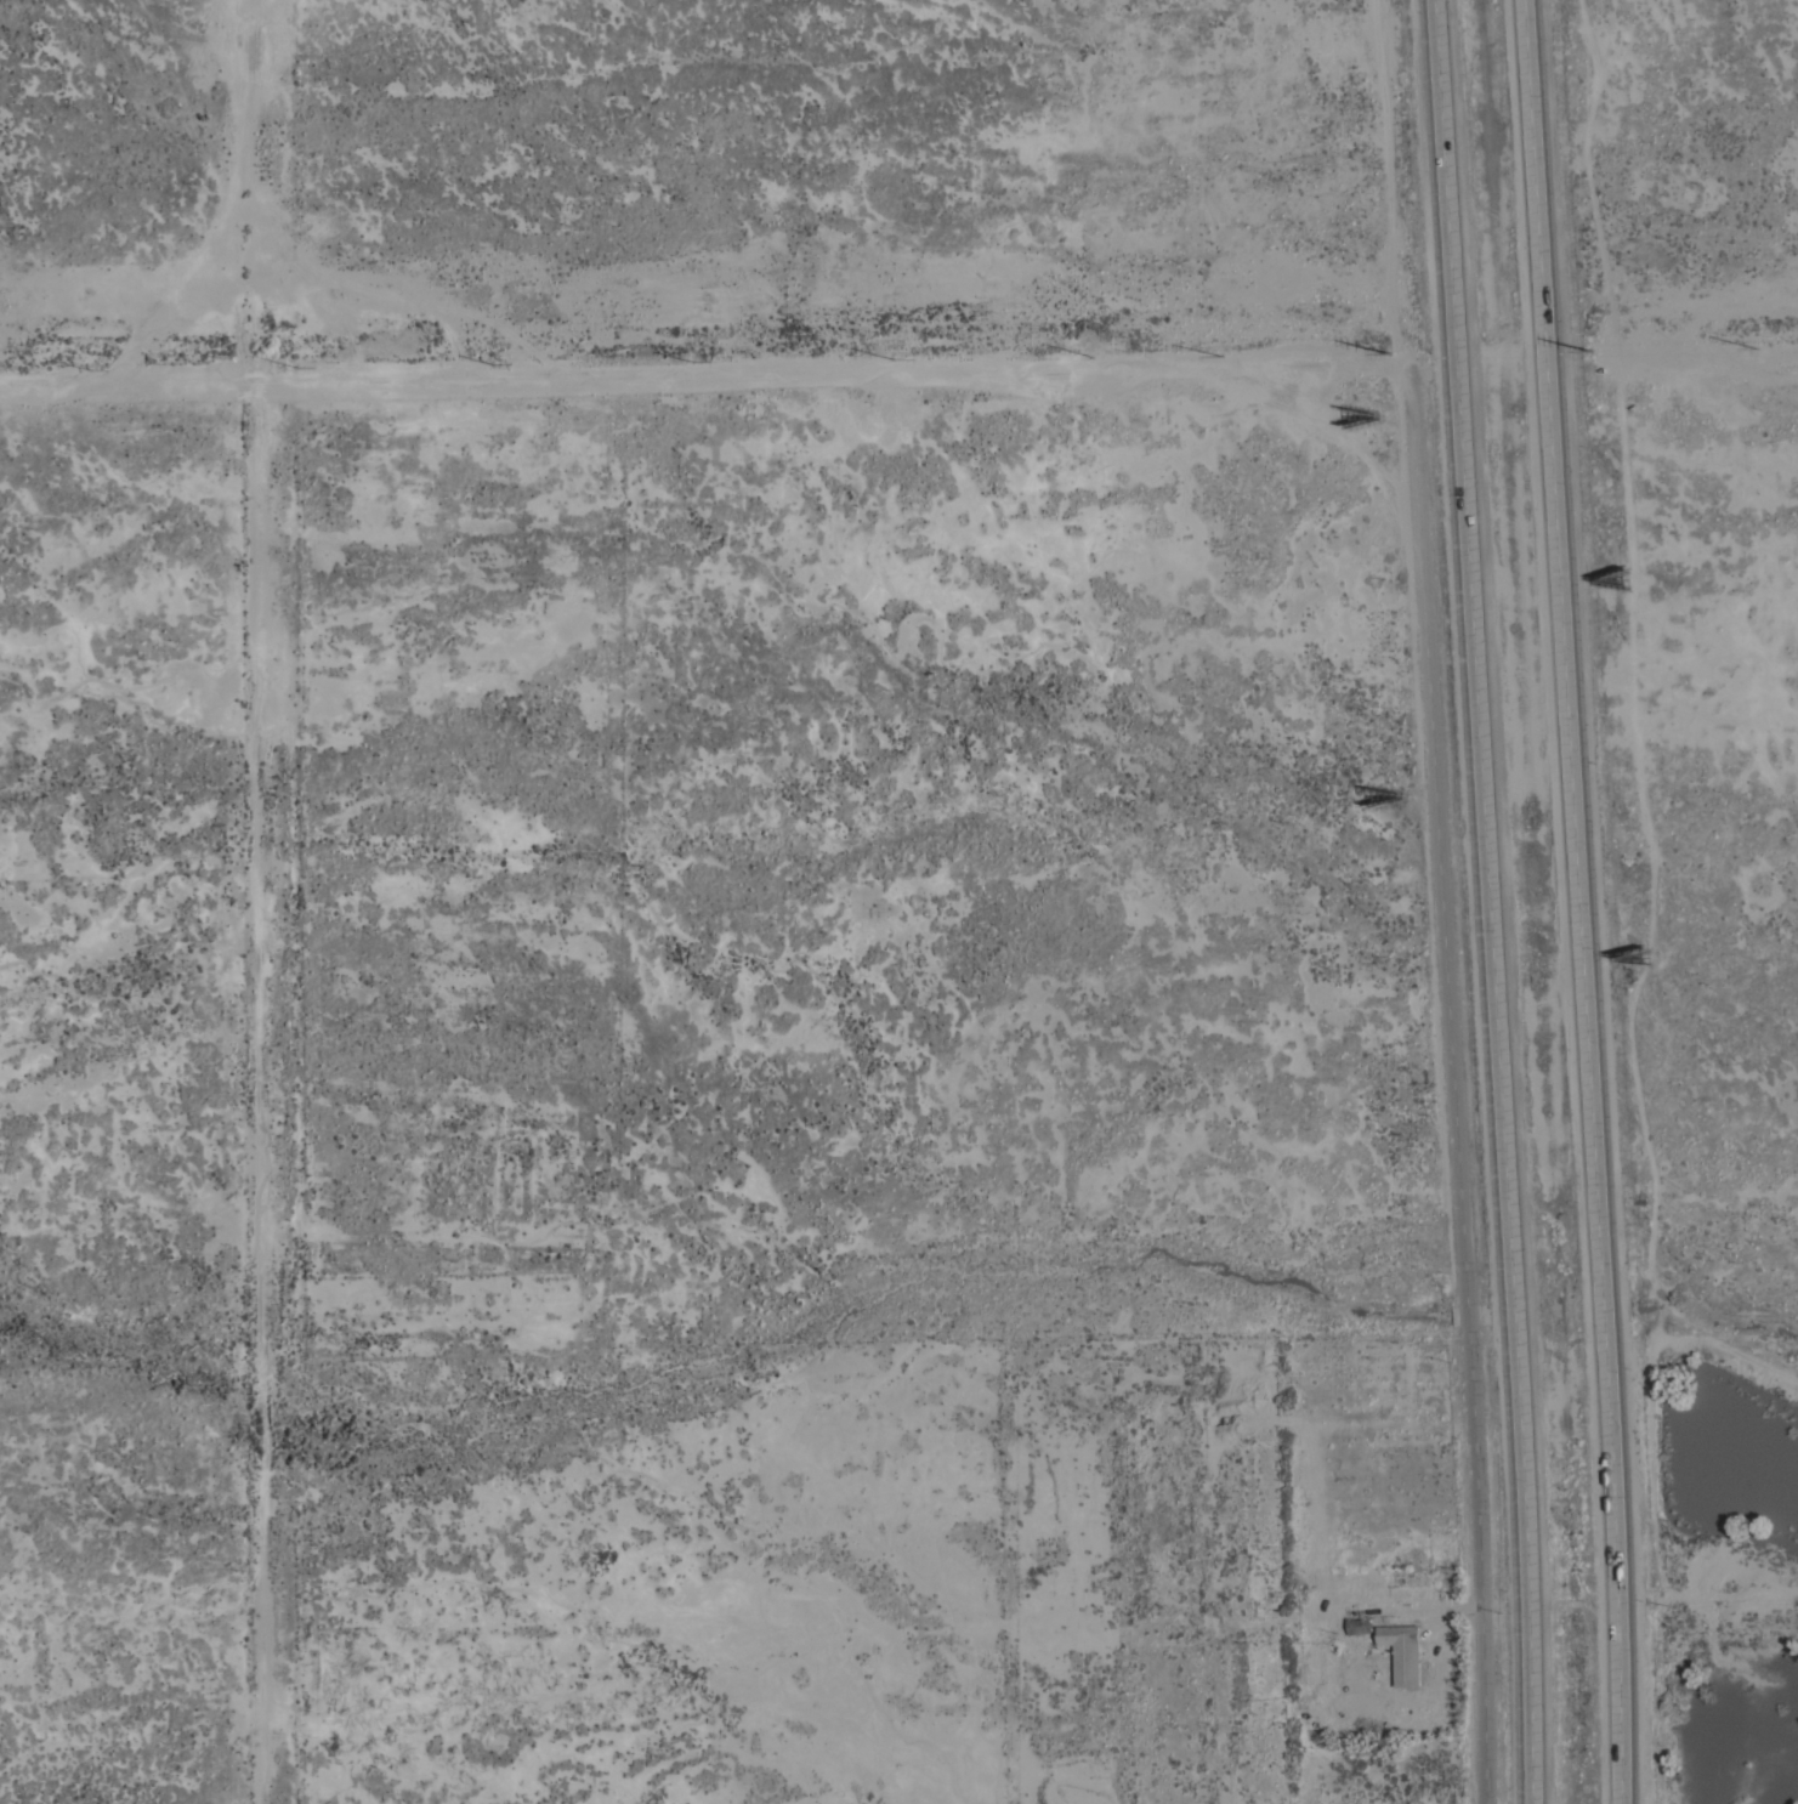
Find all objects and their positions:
road: (256, 174)
road: (1391, 188)
road: (714, 342)
road: (1502, 352)
road: (1488, 901)
road: (1581, 901)
road: (260, 1076)
road: (1456, 1090)
building: (1310, 1582)
building: (1399, 1656)

